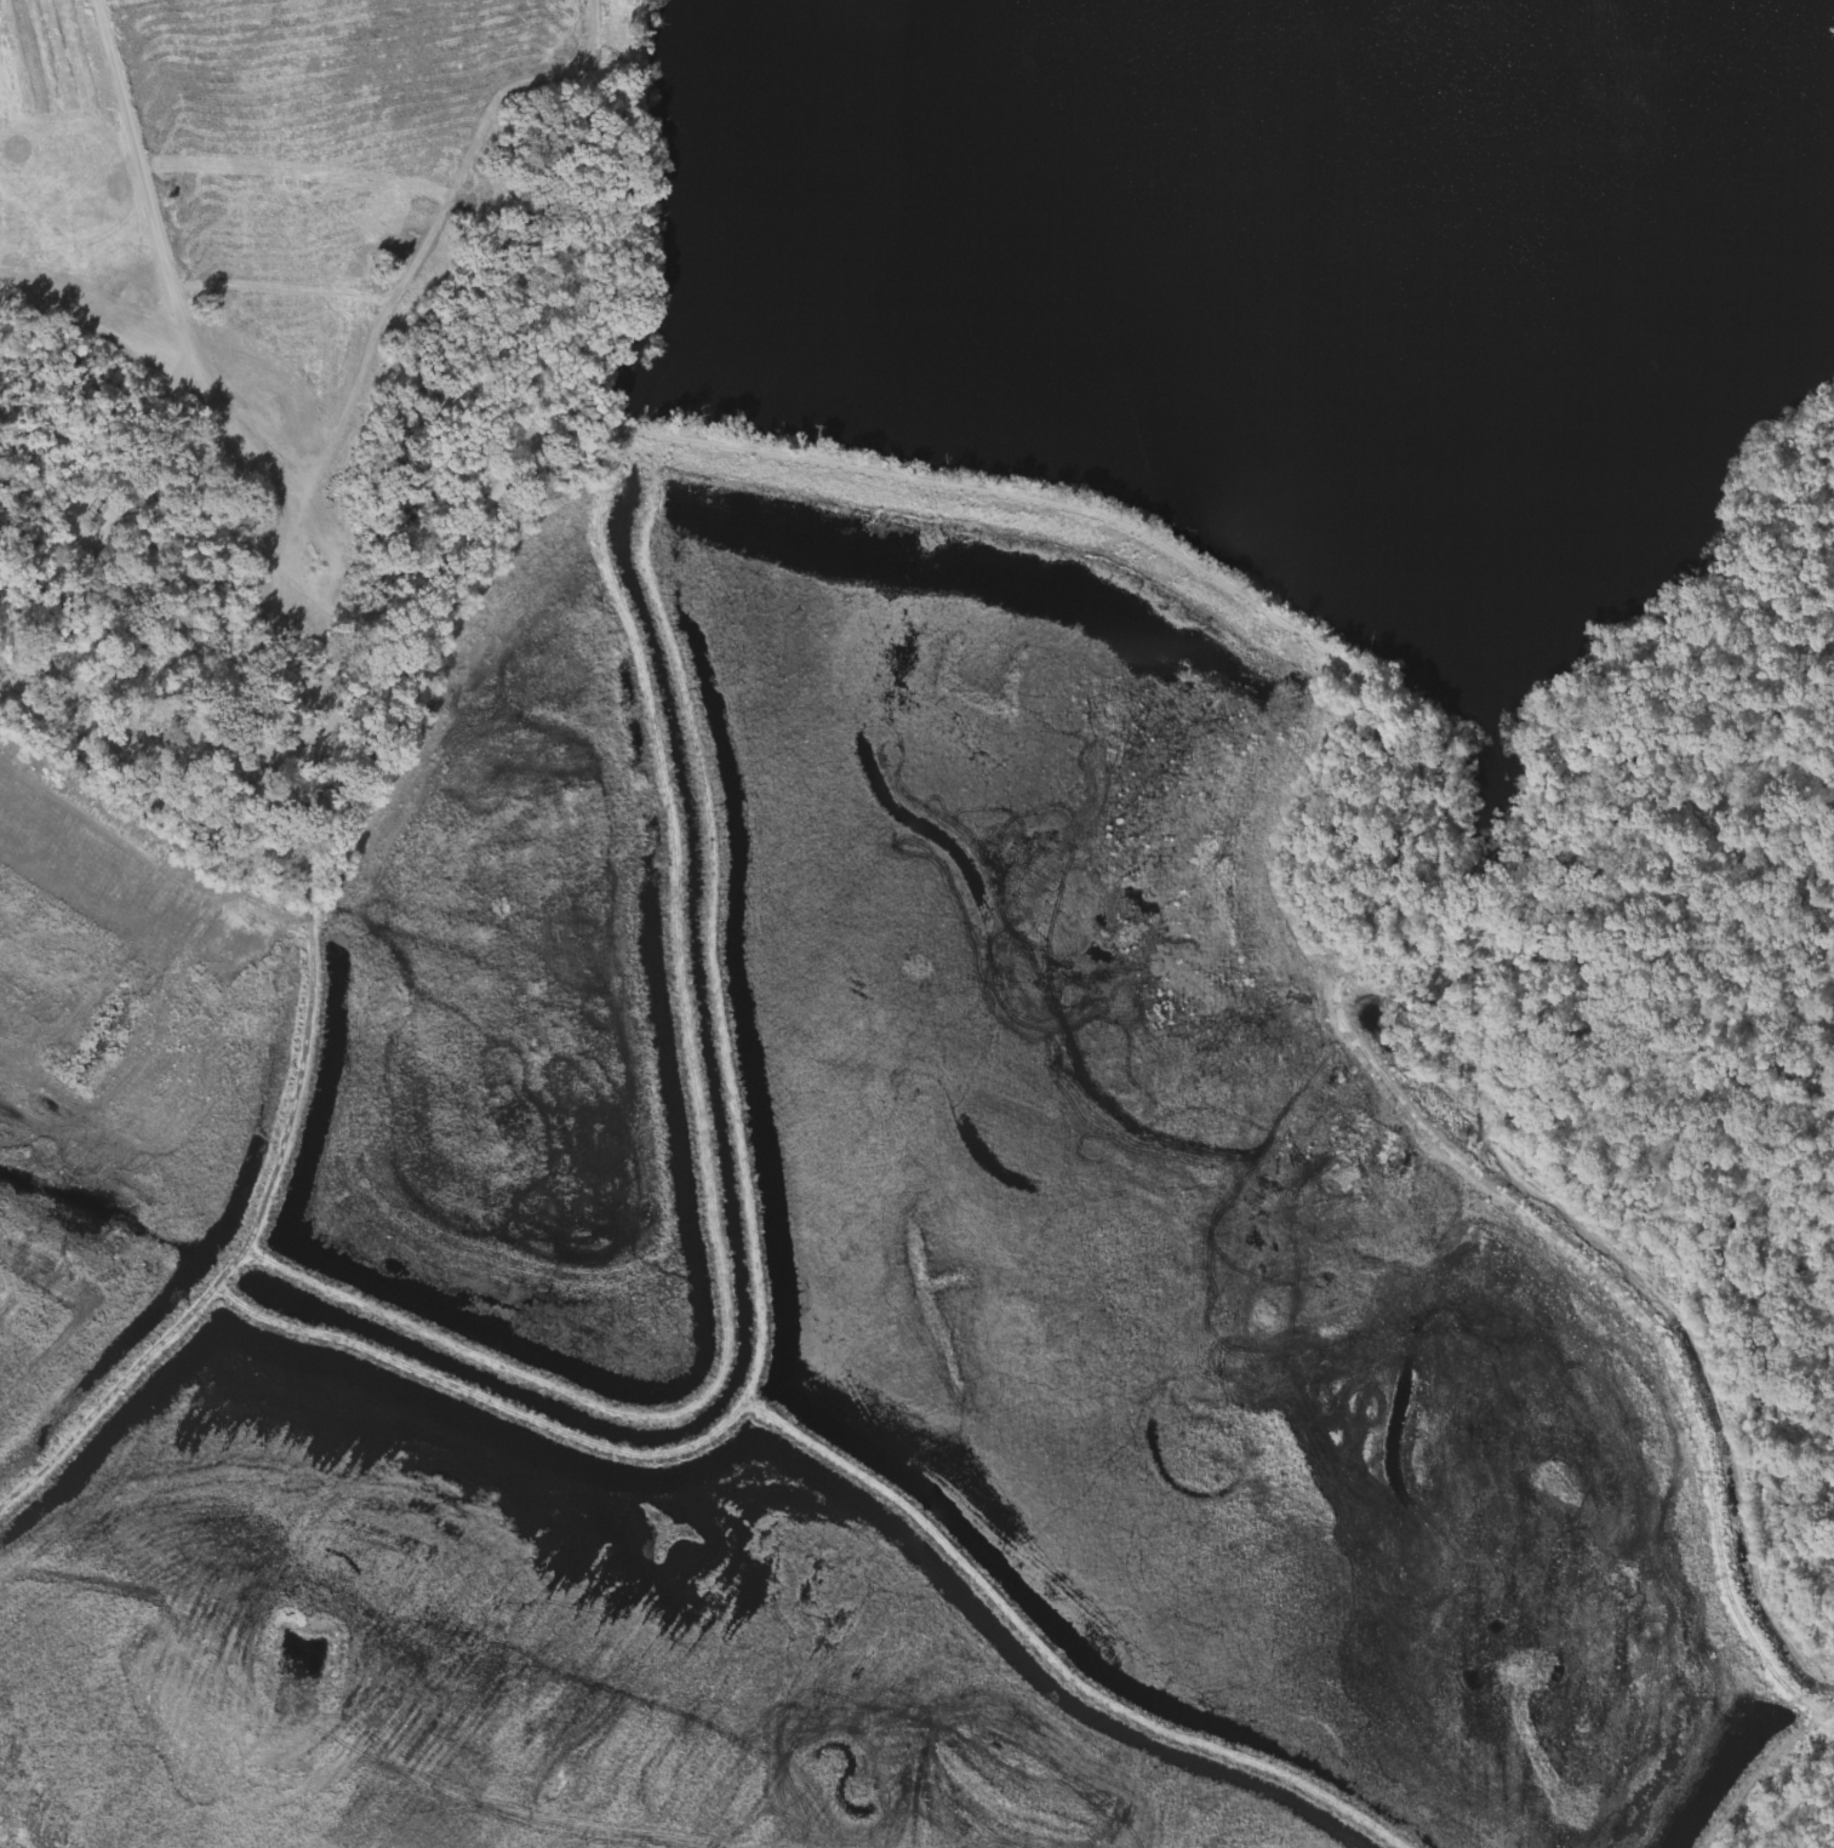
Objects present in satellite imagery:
dam: (1136, 498)
building: (316, 940)

